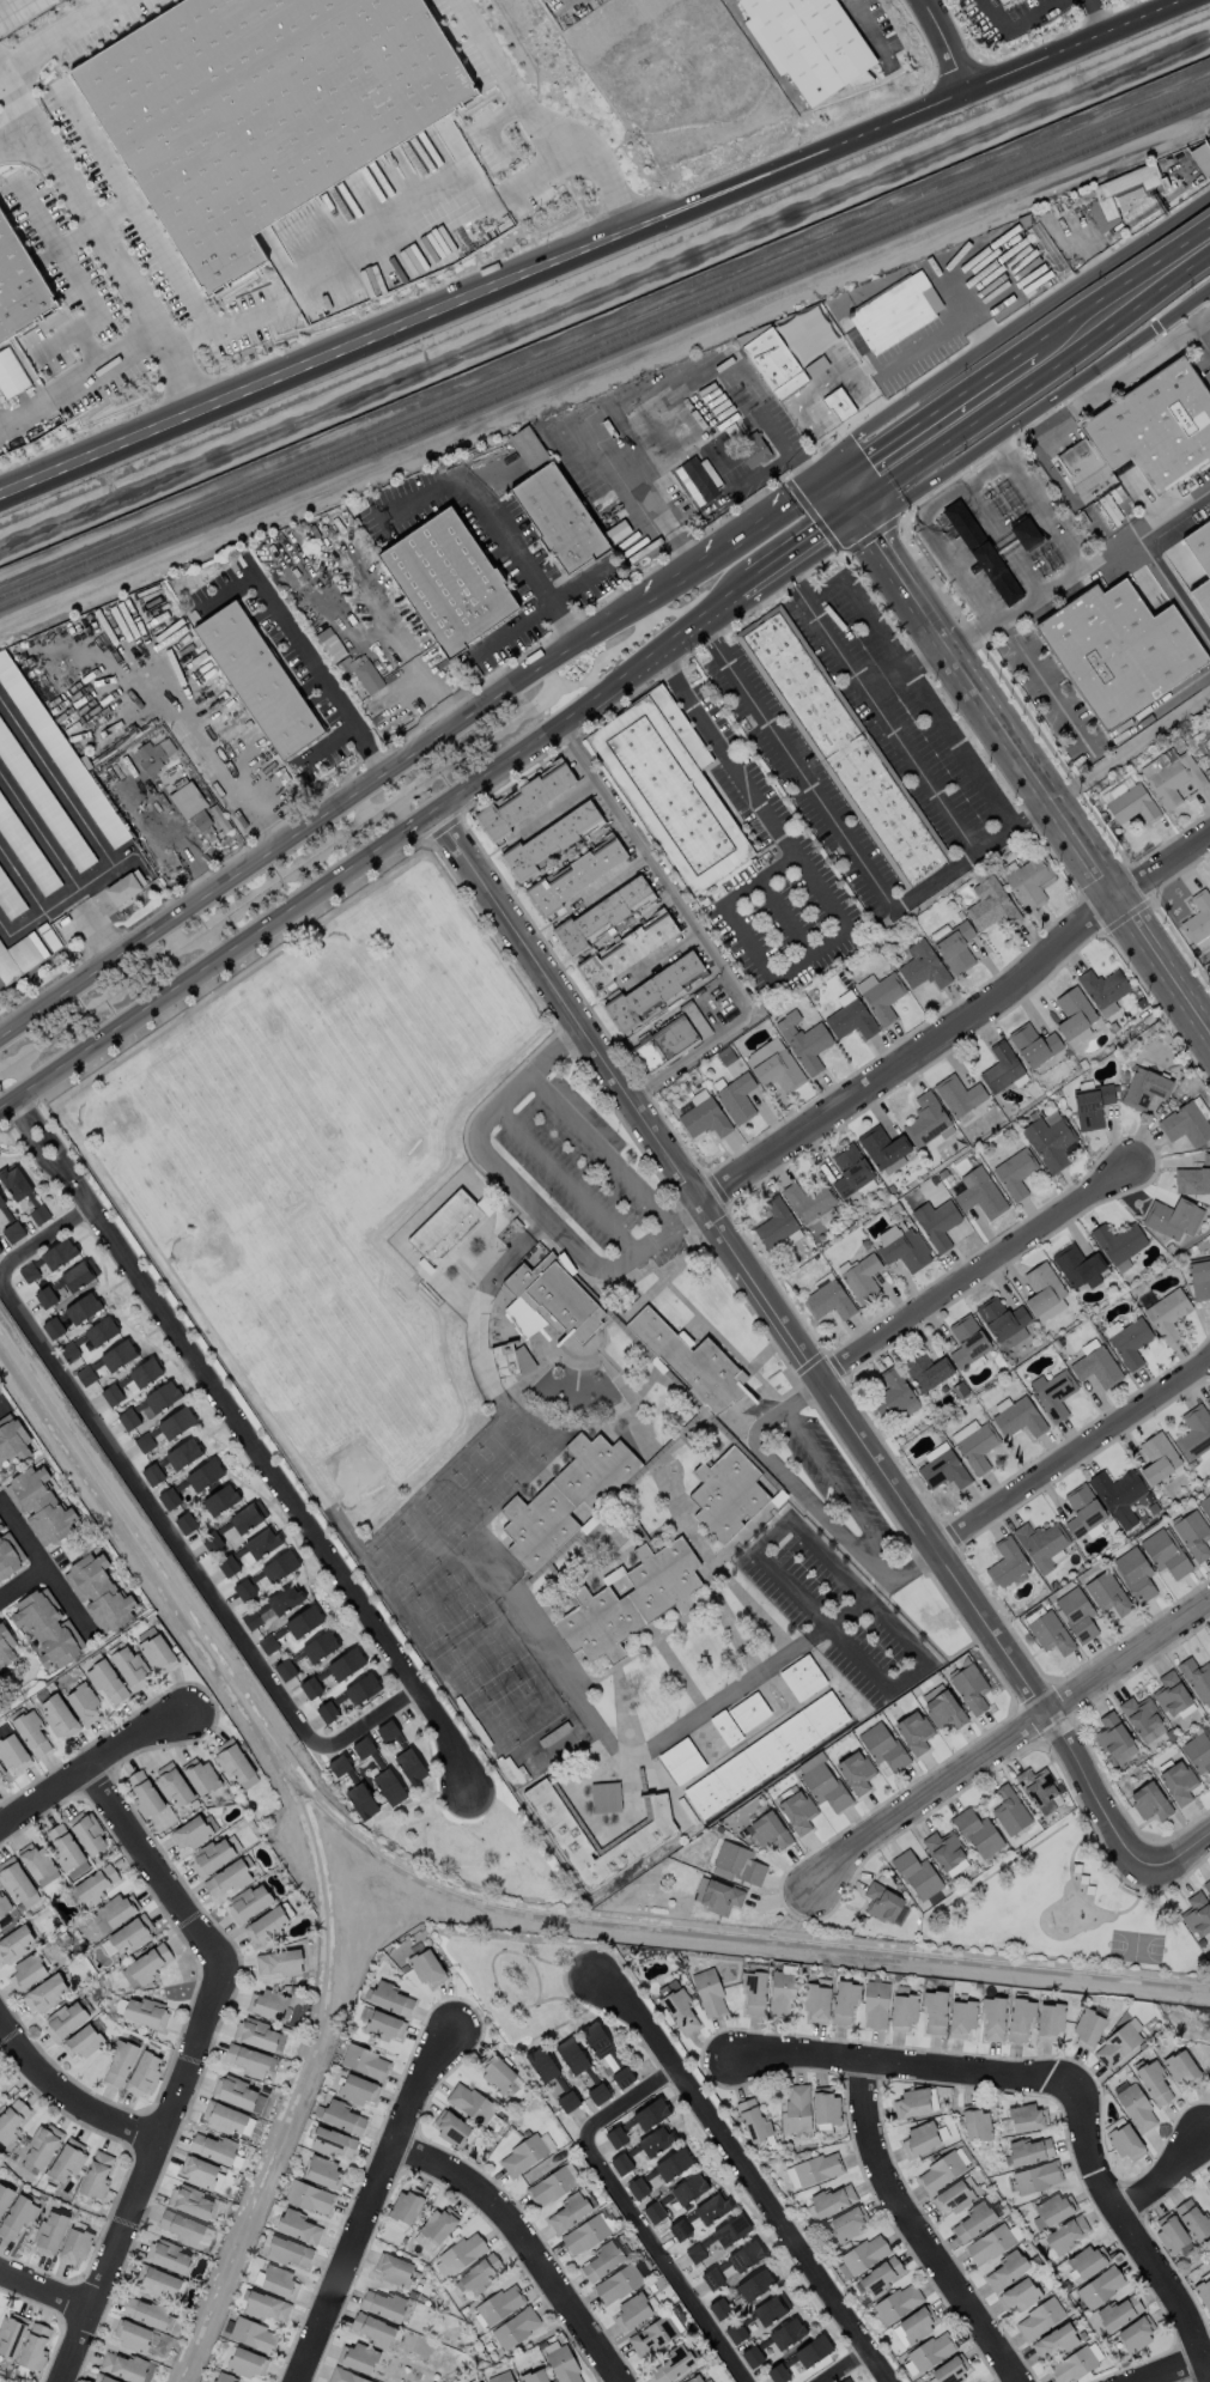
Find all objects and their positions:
building: (998, 1)
road: (1095, 12)
road: (1016, 24)
road: (865, 29)
road: (938, 42)
building: (808, 43)
road: (20, 60)
road: (2, 77)
road: (2, 84)
building: (261, 109)
road: (539, 119)
road: (95, 145)
building: (1200, 158)
building: (1119, 194)
road: (582, 245)
road: (116, 265)
road: (170, 266)
building: (19, 287)
road: (1127, 294)
building: (892, 312)
road: (87, 320)
road: (1202, 321)
building: (805, 335)
railway: (604, 344)
railway: (604, 356)
road: (1149, 357)
building: (773, 363)
building: (10, 373)
building: (838, 403)
road: (943, 423)
building: (1144, 431)
building: (528, 445)
building: (753, 449)
road: (1041, 455)
road: (847, 467)
building: (695, 479)
road: (646, 492)
traffic signals: (841, 493)
building: (1106, 509)
building: (558, 517)
road: (749, 521)
road: (1059, 522)
road: (495, 525)
road: (922, 527)
building: (1023, 531)
road: (999, 539)
road: (1117, 541)
building: (981, 552)
road: (1153, 558)
building: (1200, 561)
road: (784, 569)
road: (577, 578)
building: (448, 581)
road: (993, 624)
building: (1118, 649)
building: (110, 662)
road: (901, 666)
road: (316, 670)
building: (360, 672)
building: (257, 679)
building: (71, 689)
road: (890, 723)
road: (563, 724)
building: (1209, 734)
road: (324, 741)
road: (1129, 743)
building: (841, 746)
road: (717, 747)
road: (1086, 747)
building: (59, 751)
building: (153, 753)
road: (1024, 765)
building: (1174, 779)
building: (670, 788)
building: (1114, 789)
building: (523, 800)
road: (69, 803)
building: (1131, 804)
road: (333, 806)
building: (191, 807)
building: (549, 839)
road: (850, 845)
building: (576, 874)
building: (1029, 881)
building: (121, 888)
building: (990, 901)
building: (600, 913)
road: (784, 913)
road: (31, 917)
building: (1198, 919)
road: (90, 924)
road: (698, 928)
building: (955, 947)
building: (627, 949)
building: (17, 958)
building: (922, 965)
road: (211, 968)
road: (780, 971)
building: (1102, 989)
building: (651, 991)
building: (880, 995)
building: (1074, 1014)
road: (954, 1017)
building: (850, 1020)
building: (671, 1038)
building: (803, 1040)
building: (1033, 1044)
building: (773, 1064)
building: (1001, 1067)
building: (1143, 1088)
building: (959, 1096)
building: (736, 1098)
building: (1090, 1104)
building: (700, 1114)
building: (925, 1120)
building: (1185, 1123)
road: (49, 1140)
building: (1048, 1141)
road: (39, 1142)
road: (602, 1148)
building: (883, 1148)
road: (35, 1149)
building: (849, 1169)
parking lot: (572, 1171)
building: (1014, 1172)
road: (566, 1178)
building: (1193, 1178)
building: (13, 1181)
building: (979, 1192)
road: (521, 1193)
building: (1, 1201)
building: (807, 1201)
building: (37, 1214)
building: (1172, 1217)
building: (445, 1222)
building: (774, 1222)
building: (936, 1222)
building: (1118, 1241)
building: (901, 1246)
building: (0, 1250)
building: (57, 1253)
building: (1077, 1265)
building: (29, 1271)
road: (973, 1272)
building: (78, 1274)
building: (1199, 1277)
building: (862, 1278)
building: (1041, 1287)
building: (48, 1294)
building: (559, 1298)
building: (828, 1300)
building: (81, 1307)
building: (1048, 1311)
building: (1167, 1313)
building: (1003, 1321)
building: (53, 1326)
building: (101, 1330)
building: (966, 1339)
building: (1130, 1342)
road: (789, 1344)
building: (68, 1350)
building: (117, 1354)
building: (509, 1357)
building: (692, 1361)
building: (1095, 1367)
building: (925, 1369)
building: (85, 1374)
building: (130, 1381)
building: (1052, 1393)
building: (893, 1394)
building: (1208, 1402)
building: (147, 1405)
building: (1017, 1417)
building: (164, 1428)
building: (1194, 1433)
road: (753, 1435)
building: (11, 1439)
building: (974, 1444)
road: (1074, 1451)
building: (182, 1453)
building: (1157, 1457)
road: (822, 1459)
building: (942, 1470)
building: (153, 1473)
building: (203, 1473)
parking lot: (820, 1479)
road: (278, 1488)
building: (565, 1495)
building: (728, 1495)
building: (1118, 1495)
building: (168, 1497)
building: (219, 1499)
building: (39, 1505)
building: (1205, 1505)
building: (1082, 1509)
road: (154, 1513)
building: (247, 1515)
building: (184, 1523)
road: (832, 1527)
road: (863, 1533)
building: (1192, 1533)
building: (262, 1542)
building: (1040, 1543)
building: (1165, 1551)
building: (8, 1552)
road: (825, 1558)
building: (1005, 1562)
building: (227, 1564)
road: (914, 1564)
building: (279, 1566)
road: (878, 1567)
road: (42, 1568)
building: (1135, 1573)
road: (20, 1580)
park: (482, 1585)
building: (243, 1588)
building: (98, 1592)
building: (1106, 1592)
building: (284, 1598)
building: (633, 1600)
parking lot: (835, 1609)
building: (1076, 1612)
building: (251, 1618)
building: (303, 1621)
building: (47, 1627)
building: (1050, 1633)
building: (267, 1643)
building: (318, 1645)
building: (5, 1646)
building: (154, 1648)
building: (1209, 1652)
building: (129, 1667)
building: (284, 1669)
building: (332, 1671)
building: (803, 1676)
building: (1196, 1677)
building: (107, 1682)
building: (969, 1687)
building: (361, 1688)
building: (1171, 1694)
building: (83, 1702)
building: (329, 1708)
building: (943, 1709)
building: (748, 1710)
building: (57, 1716)
building: (1142, 1718)
building: (725, 1727)
building: (913, 1731)
building: (31, 1732)
building: (1114, 1737)
road: (1007, 1742)
building: (882, 1745)
building: (361, 1746)
building: (12, 1751)
building: (1198, 1751)
building: (765, 1754)
road: (93, 1758)
building: (682, 1760)
building: (232, 1761)
building: (338, 1764)
building: (409, 1764)
building: (855, 1770)
building: (199, 1775)
building: (1, 1776)
building: (1178, 1781)
building: (171, 1782)
building: (388, 1786)
building: (823, 1786)
building: (1038, 1787)
building: (142, 1792)
building: (360, 1800)
building: (1149, 1800)
building: (1009, 1809)
building: (797, 1811)
building: (194, 1830)
building: (767, 1830)
building: (86, 1831)
building: (639, 1833)
building: (977, 1833)
building: (565, 1835)
park: (481, 1847)
building: (66, 1851)
building: (945, 1852)
road: (1175, 1852)
building: (213, 1854)
building: (737, 1861)
building: (36, 1863)
building: (917, 1874)
building: (227, 1876)
building: (13, 1878)
building: (93, 1884)
building: (1206, 1884)
building: (719, 1896)
building: (247, 1902)
building: (881, 1902)
building: (4, 1904)
park: (1065, 1909)
building: (113, 1912)
building: (1197, 1914)
building: (265, 1925)
building: (130, 1934)
building: (14, 1943)
park: (1136, 1946)
building: (279, 1962)
building: (147, 1963)
building: (426, 1967)
building: (25, 1971)
park: (516, 1976)
building: (753, 1991)
building: (44, 1992)
building: (707, 1992)
building: (780, 1993)
building: (389, 1998)
building: (816, 2001)
building: (844, 2001)
building: (268, 2004)
building: (875, 2004)
building: (679, 2009)
building: (902, 2011)
building: (934, 2011)
building: (145, 2012)
building: (960, 2017)
building: (992, 2017)
building: (1019, 2018)
building: (63, 2019)
building: (1048, 2019)
building: (383, 2025)
building: (1087, 2028)
building: (255, 2034)
building: (596, 2040)
building: (81, 2041)
building: (1118, 2042)
building: (571, 2055)
building: (247, 2060)
building: (364, 2060)
road: (904, 2061)
building: (118, 2062)
road: (186, 2062)
road: (1, 2064)
building: (541, 2064)
building: (1181, 2068)
building: (144, 2073)
building: (499, 2076)
building: (621, 2076)
building: (1154, 2083)
park: (8, 2085)
building: (357, 2089)
building: (232, 2091)
road: (68, 2092)
building: (597, 2092)
building: (567, 2101)
building: (469, 2102)
building: (911, 2102)
building: (825, 2105)
building: (797, 2107)
building: (1135, 2107)
building: (650, 2113)
building: (341, 2115)
building: (1027, 2116)
building: (224, 2117)
building: (11, 2119)
building: (753, 2120)
building: (974, 2122)
building: (450, 2127)
building: (615, 2135)
building: (919, 2138)
building: (655, 2139)
building: (332, 2141)
building: (1125, 2141)
building: (41, 2145)
building: (212, 2147)
building: (1028, 2150)
building: (522, 2155)
building: (66, 2159)
building: (620, 2163)
building: (671, 2163)
road: (741, 2169)
building: (813, 2169)
road: (1162, 2169)
building: (197, 2170)
building: (941, 2170)
building: (323, 2171)
building: (96, 2174)
building: (1036, 2176)
building: (1206, 2184)
building: (549, 2186)
building: (636, 2187)
building: (688, 2188)
road: (370, 2194)
building: (4, 2195)
building: (309, 2196)
building: (950, 2196)
building: (831, 2199)
building: (188, 2200)
building: (405, 2205)
building: (712, 2207)
building: (567, 2210)
building: (1052, 2210)
road: (628, 2212)
building: (17, 2216)
building: (1193, 2218)
building: (846, 2222)
building: (972, 2222)
building: (297, 2225)
building: (181, 2226)
building: (436, 2226)
road: (919, 2226)
building: (679, 2229)
building: (730, 2230)
building: (48, 2232)
building: (1169, 2232)
building: (584, 2234)
road: (1141, 2234)
building: (1064, 2235)
road: (521, 2243)
building: (989, 2243)
building: (73, 2247)
building: (288, 2250)
building: (458, 2254)
building: (862, 2254)
building: (165, 2255)
building: (602, 2260)
building: (1087, 2260)
building: (731, 2263)
building: (393, 2268)
building: (1007, 2268)
building: (479, 2273)
building: (877, 2277)
building: (157, 2281)
building: (278, 2281)
building: (616, 2283)
building: (754, 2284)
building: (1099, 2285)
road: (43, 2291)
building: (1204, 2291)
building: (1019, 2293)
building: (896, 2302)
building: (382, 2303)
building: (499, 2303)
building: (265, 2305)
building: (718, 2308)
building: (770, 2308)
building: (145, 2311)
building: (631, 2311)
building: (1118, 2311)
building: (1039, 2317)
building: (916, 2323)
building: (515, 2327)
building: (372, 2329)
building: (735, 2332)
building: (11, 2333)
building: (786, 2333)
building: (1135, 2333)
building: (132, 2334)
building: (253, 2334)
building: (652, 2334)
building: (1054, 2340)
building: (34, 2346)
building: (811, 2350)
building: (930, 2351)
building: (752, 2356)
building: (357, 2357)
building: (245, 2362)
building: (561, 2362)
building: (670, 2364)
building: (1071, 2364)
building: (122, 2365)
road: (841, 2366)
road: (1172, 2366)
building: (950, 2369)
building: (777, 2372)
building: (345, 2376)
building: (534, 2376)
building: (224, 2377)
building: (499, 2377)
building: (103, 2378)
building: (695, 2378)
building: (974, 2381)

